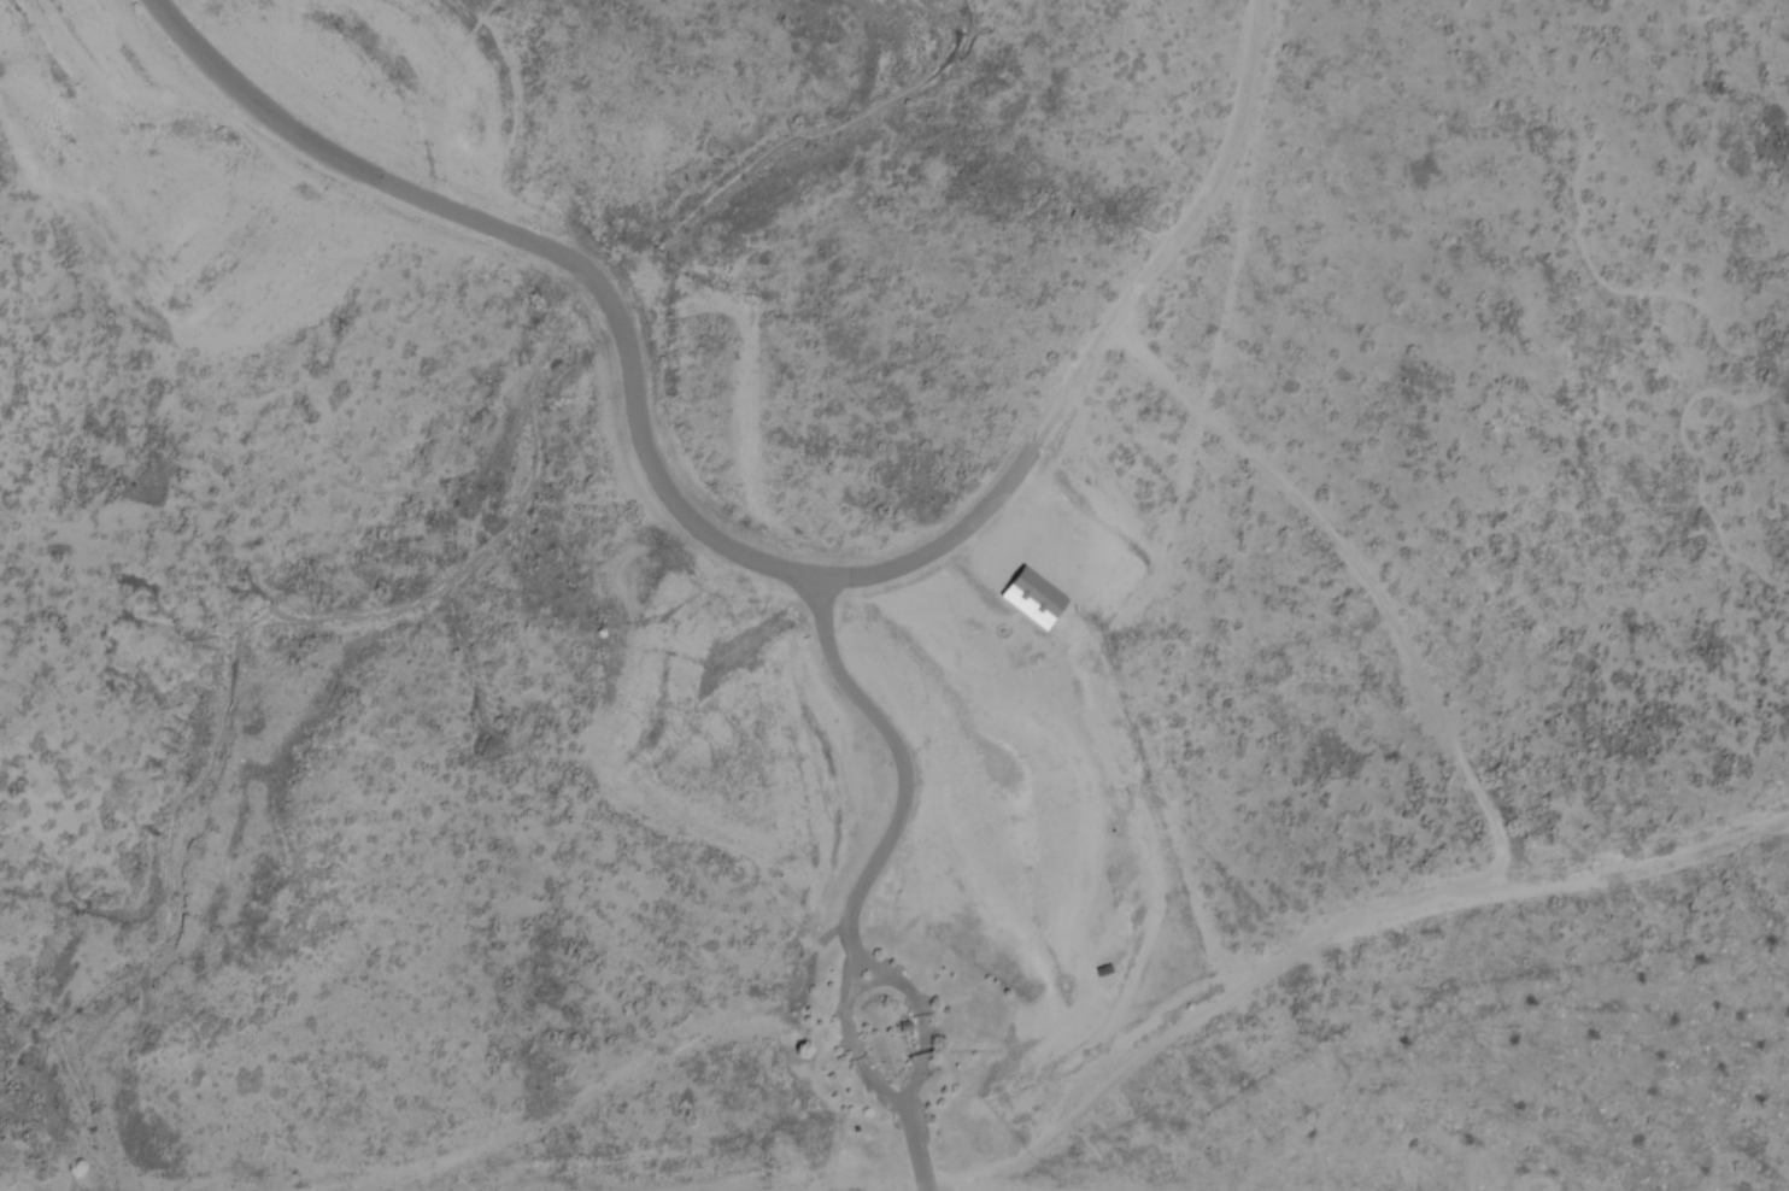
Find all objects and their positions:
park: (475, 8)
road: (1185, 241)
road: (546, 248)
road: (944, 545)
building: (1033, 598)
road: (904, 762)
road: (873, 982)
road: (925, 1022)
road: (854, 1046)
road: (919, 1154)

